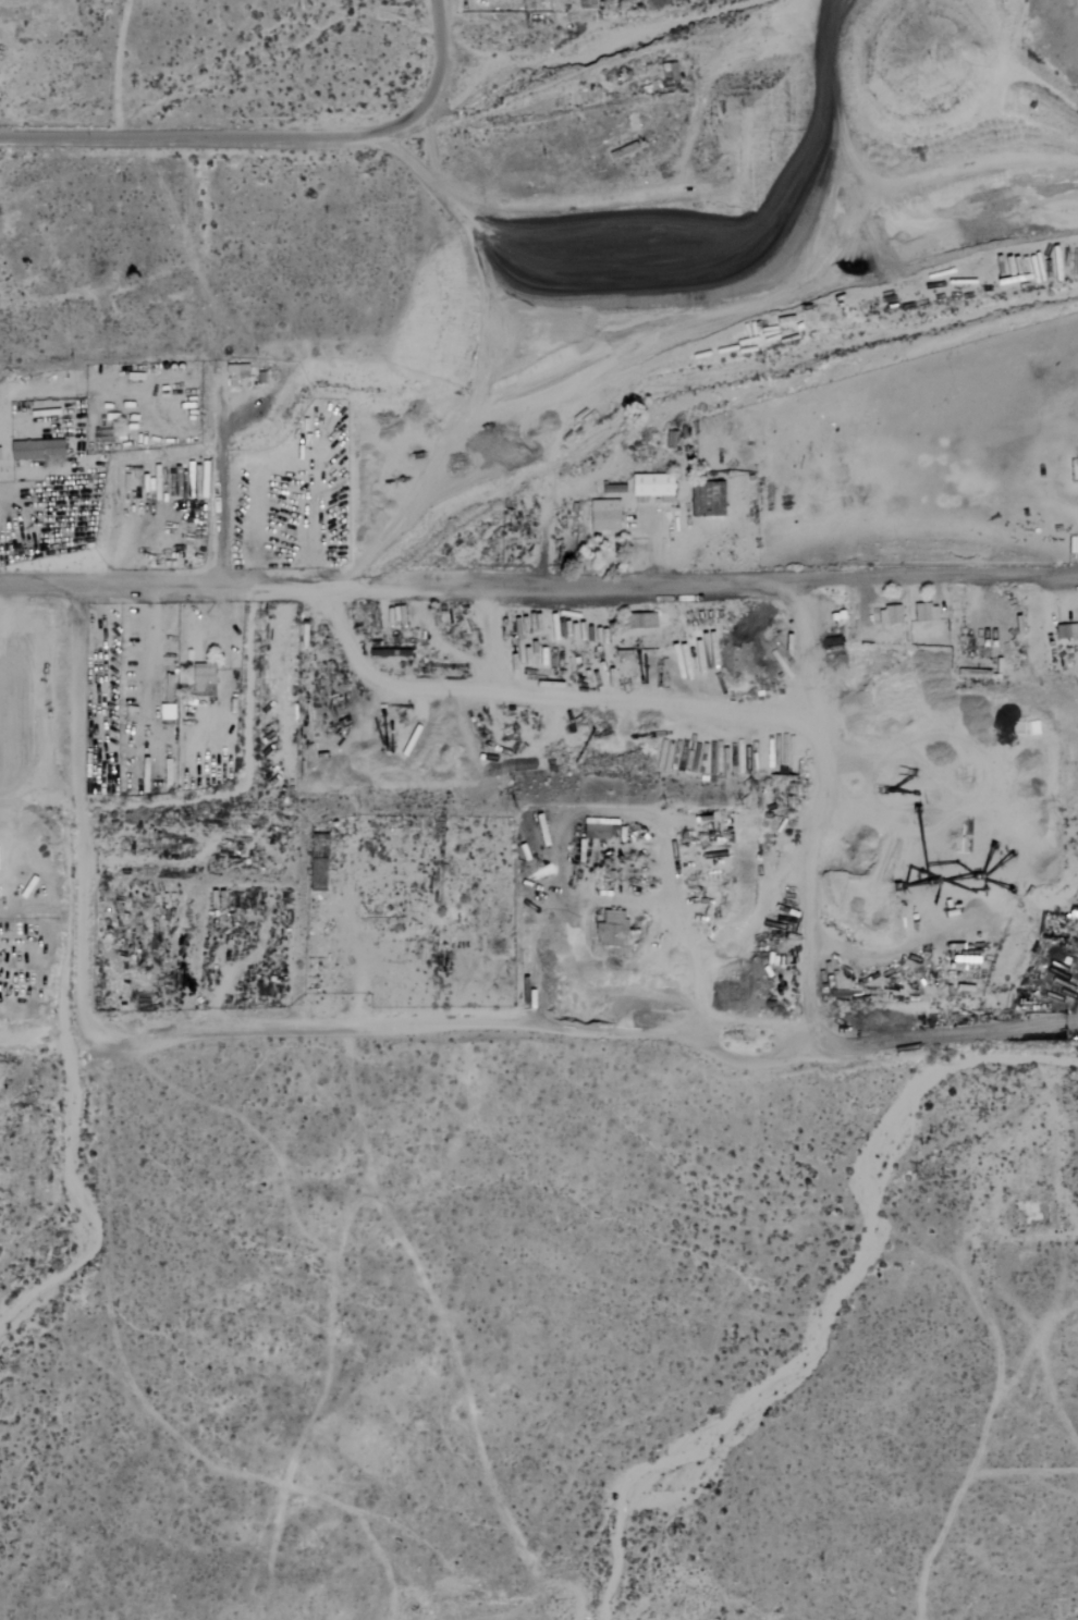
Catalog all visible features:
road: (270, 136)
building: (627, 154)
road: (34, 391)
building: (39, 450)
building: (654, 487)
road: (539, 580)
building: (928, 612)
building: (891, 615)
building: (646, 619)
building: (1068, 630)
building: (205, 682)
road: (817, 801)
road: (77, 803)
building: (603, 831)
building: (321, 862)
road: (610, 898)
road: (754, 916)
building: (613, 929)
road: (538, 1026)

